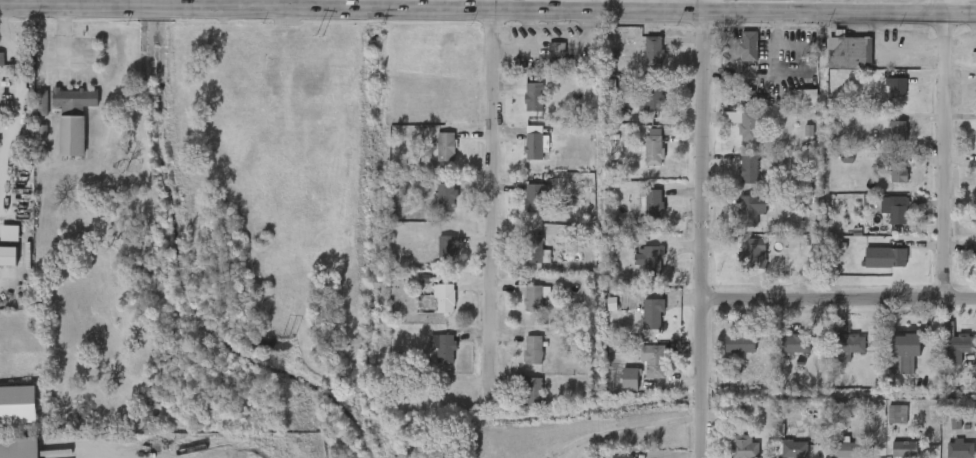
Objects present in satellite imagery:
road: (68, 4)
road: (289, 6)
road: (33, 8)
road: (495, 9)
road: (150, 10)
road: (696, 10)
road: (261, 12)
road: (353, 14)
road: (456, 17)
road: (557, 18)
road: (659, 19)
road: (837, 21)
road: (63, 38)
building: (747, 46)
building: (652, 51)
building: (848, 53)
building: (556, 55)
building: (973, 58)
building: (1, 60)
road: (759, 69)
building: (895, 87)
building: (532, 97)
building: (652, 97)
building: (806, 99)
building: (42, 103)
building: (73, 118)
building: (747, 127)
building: (898, 128)
building: (533, 147)
building: (445, 148)
building: (652, 148)
road: (945, 149)
building: (747, 168)
building: (897, 173)
building: (445, 199)
building: (533, 199)
road: (493, 200)
building: (650, 209)
building: (750, 210)
building: (894, 210)
building: (9, 233)
road: (702, 238)
building: (445, 250)
building: (532, 250)
building: (755, 254)
building: (8, 255)
building: (647, 259)
building: (885, 259)
road: (838, 298)
building: (443, 299)
building: (531, 299)
building: (652, 315)
building: (956, 342)
building: (739, 344)
building: (794, 344)
building: (849, 345)
building: (763, 346)
building: (903, 346)
building: (441, 348)
building: (532, 350)
building: (653, 362)
building: (630, 379)
building: (443, 392)
building: (532, 393)
building: (18, 405)
building: (897, 415)
building: (19, 447)
building: (743, 447)
building: (794, 450)
building: (850, 450)
building: (903, 450)
building: (959, 450)
building: (620, 457)

